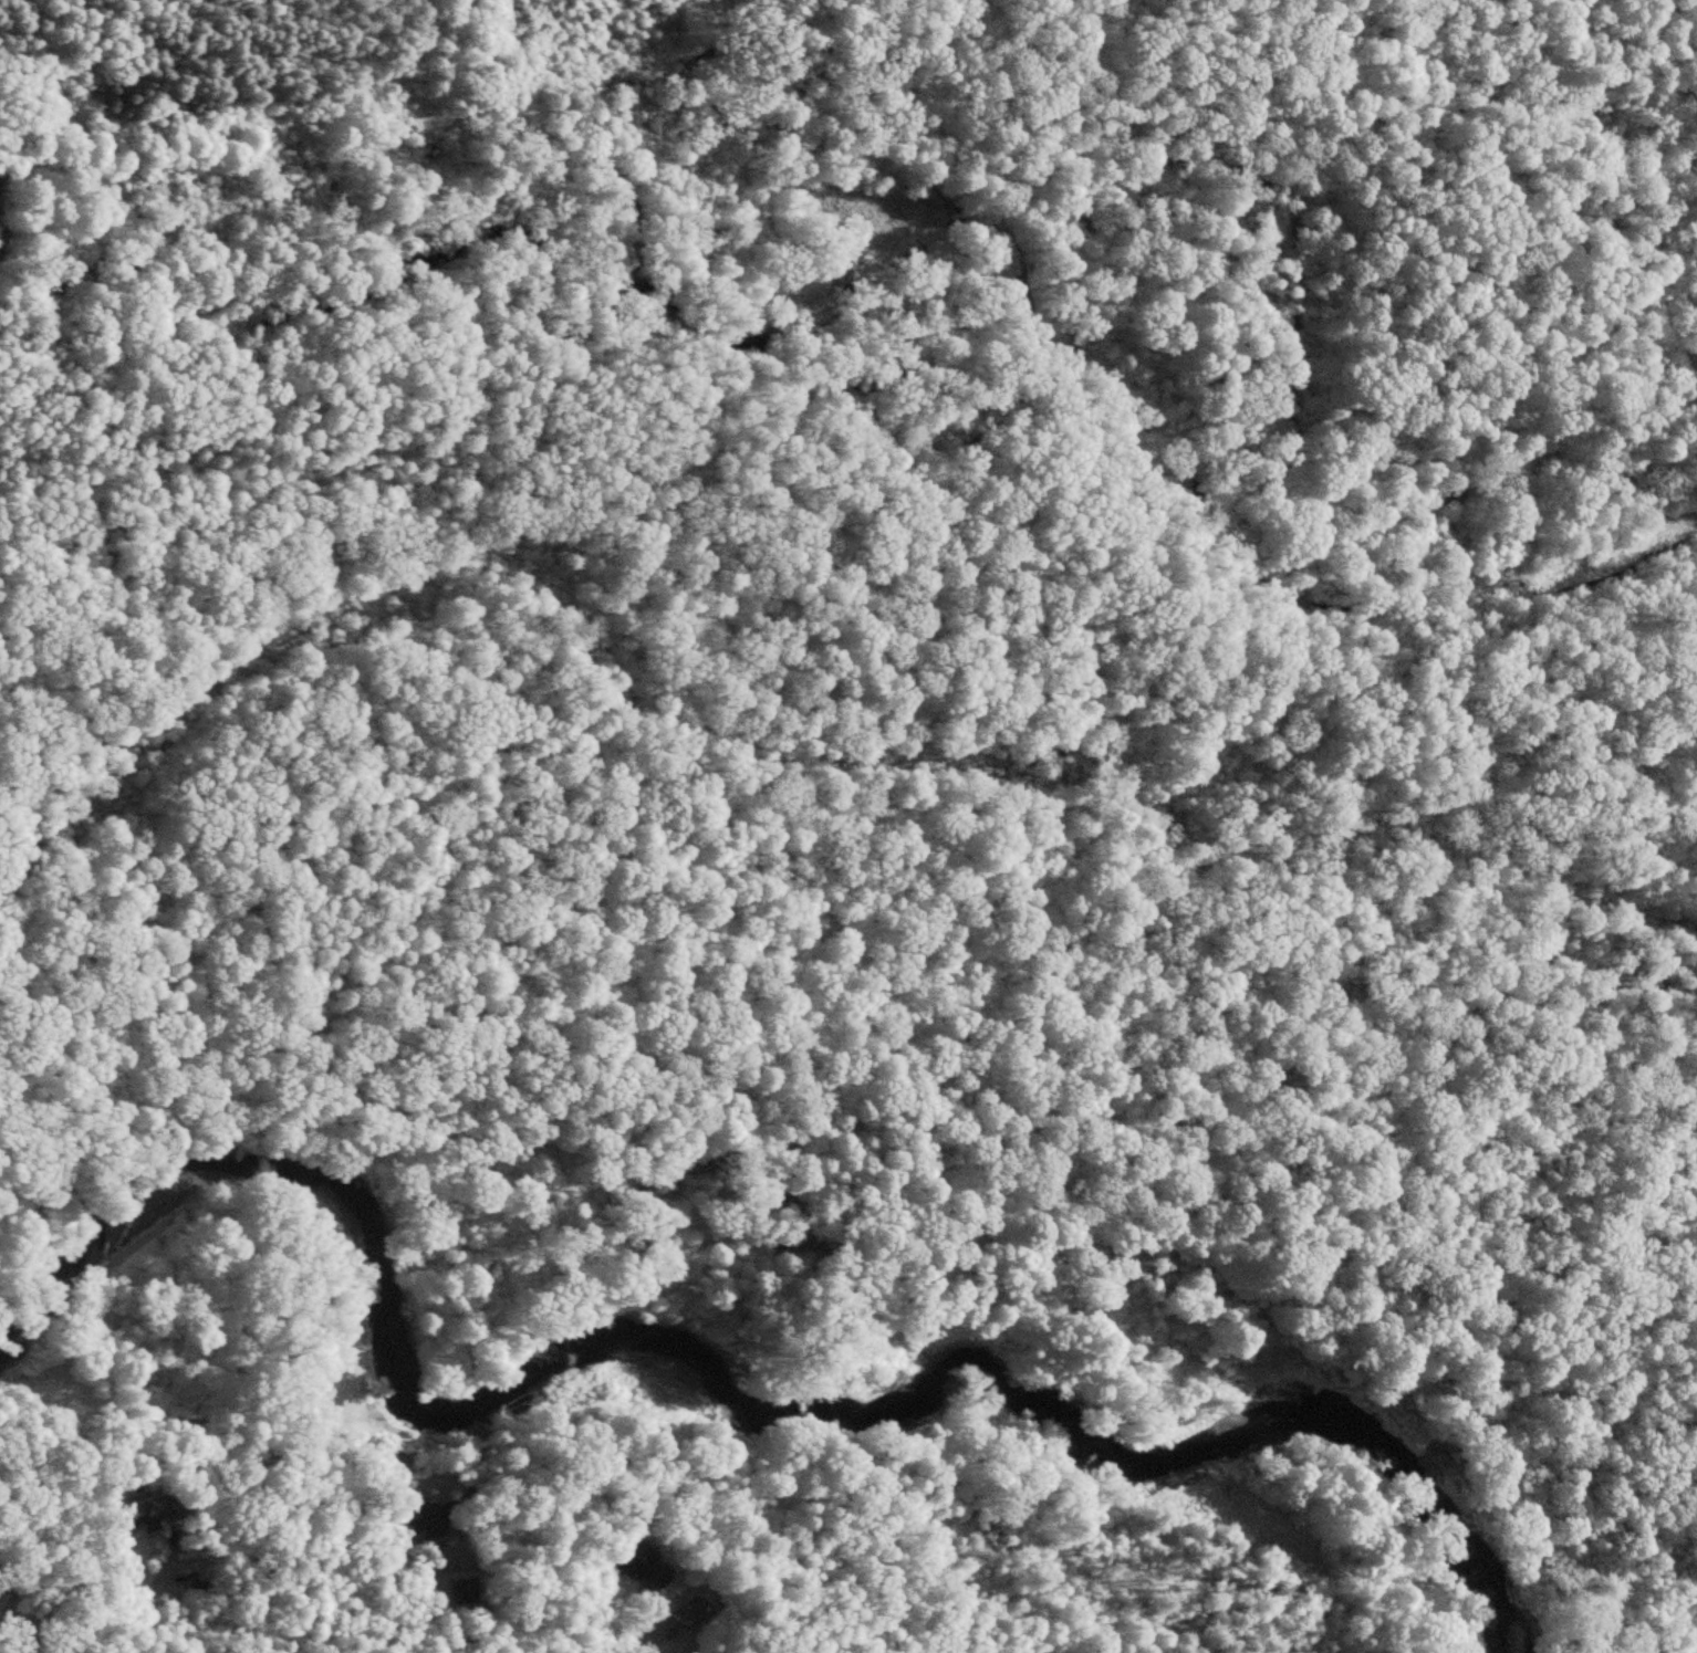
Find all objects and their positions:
river: (722, 1379)
building: (434, 1521)
building: (650, 1567)
building: (700, 1613)

